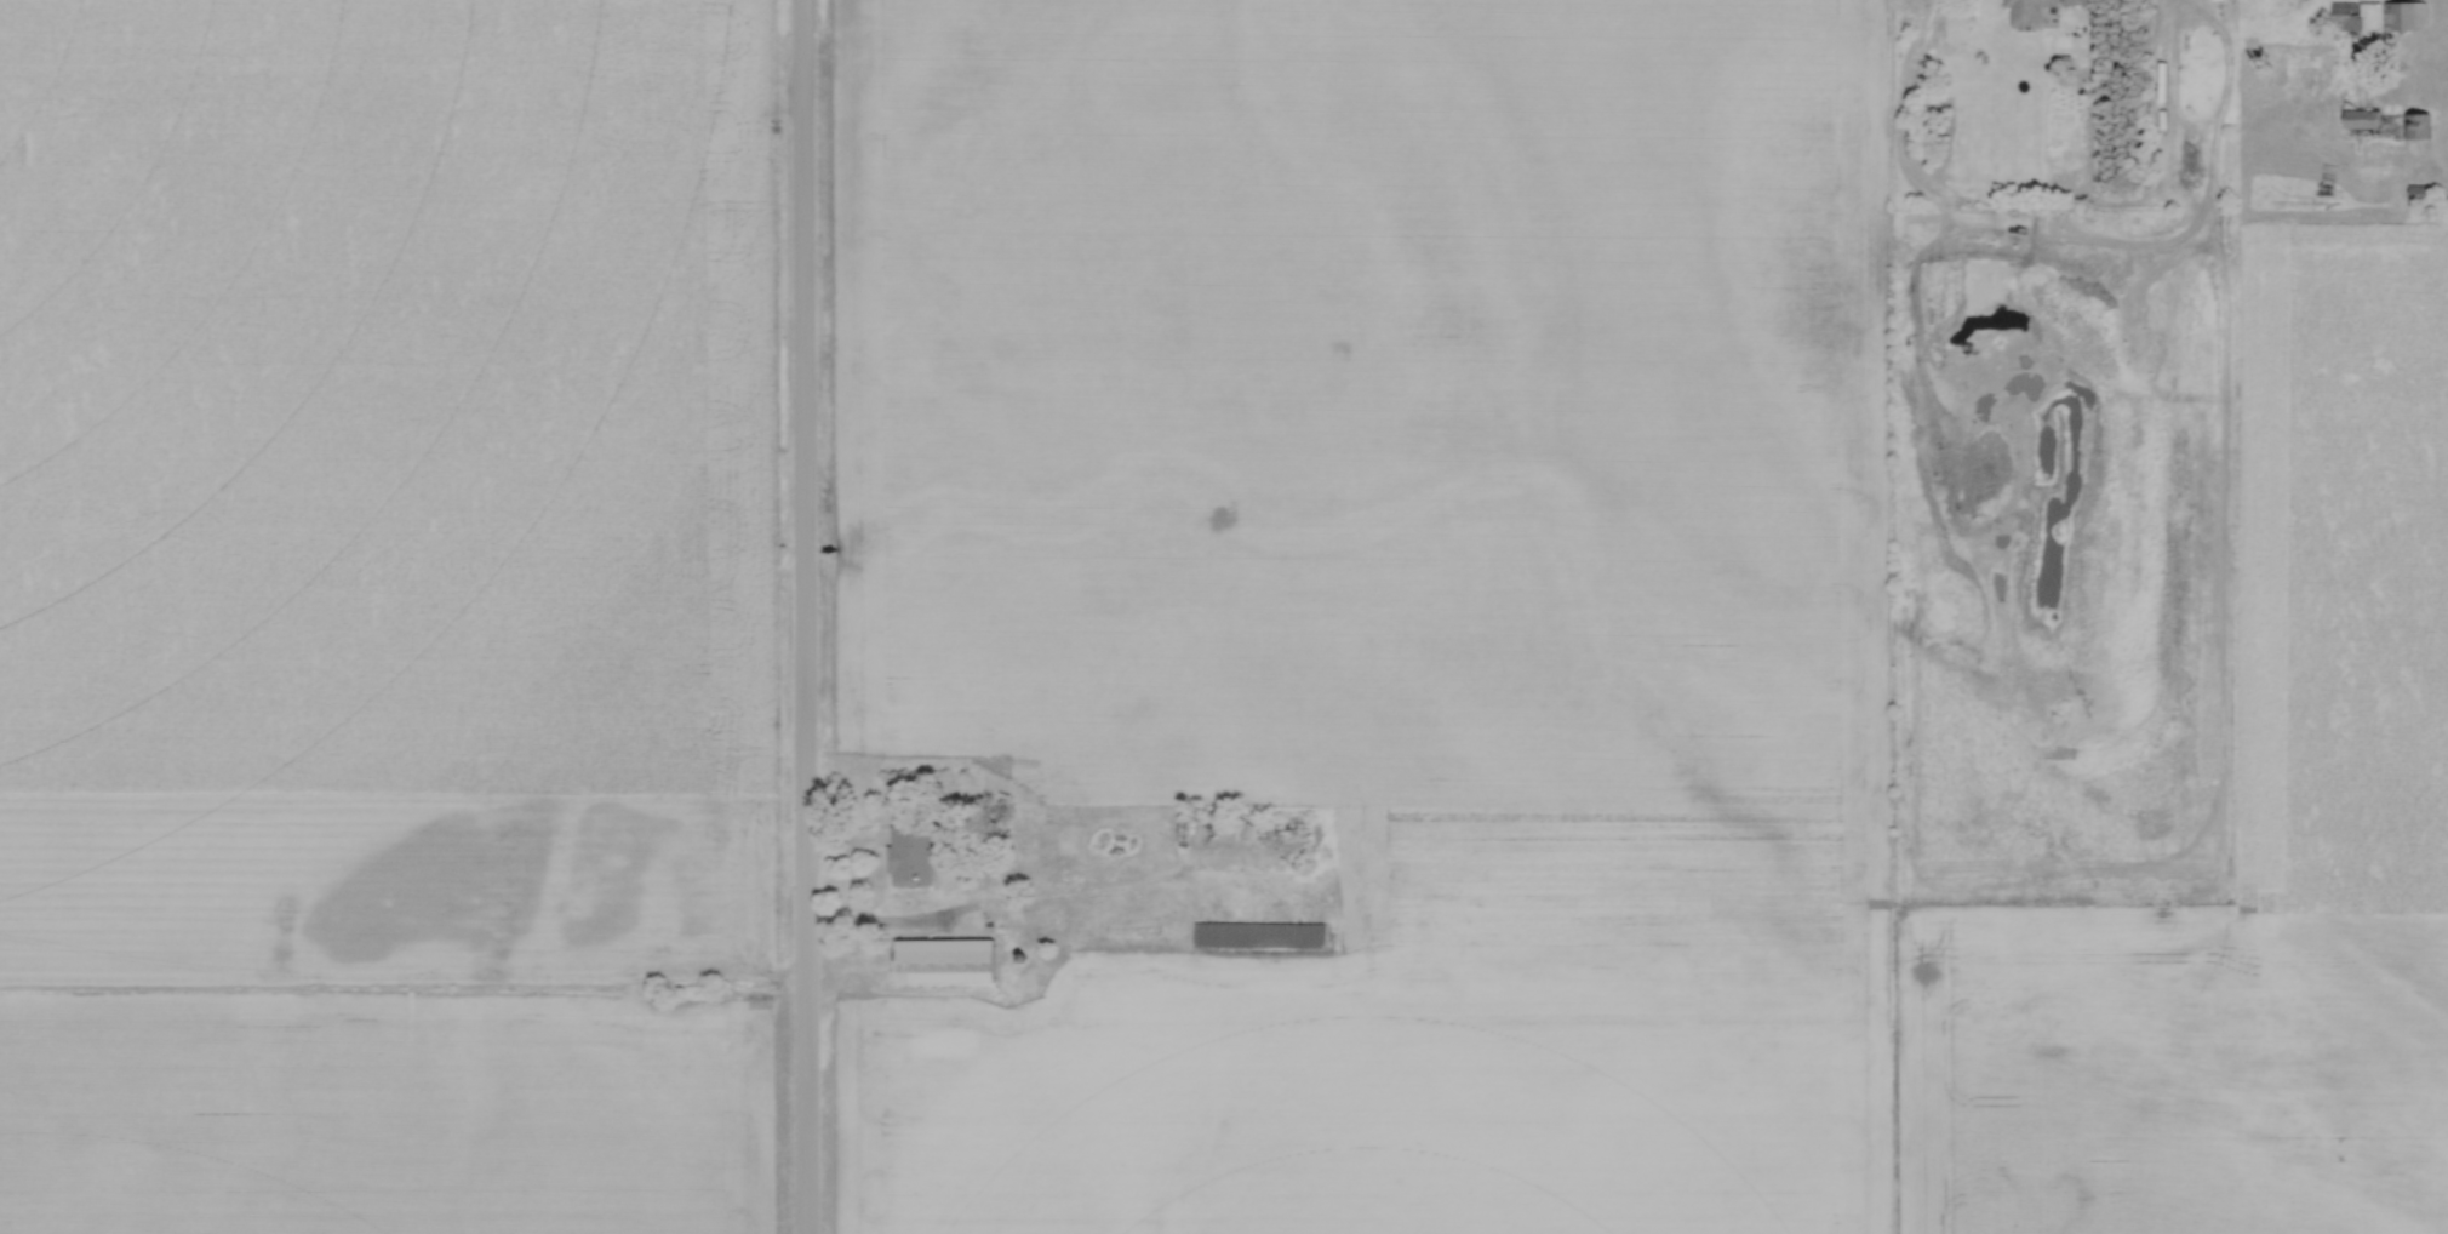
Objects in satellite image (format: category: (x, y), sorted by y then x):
building: (2030, 11)
building: (2344, 16)
building: (2402, 16)
building: (2358, 119)
building: (2416, 125)
road: (802, 616)
building: (1242, 834)
building: (908, 856)
road: (1019, 908)
building: (1257, 935)
building: (943, 961)

